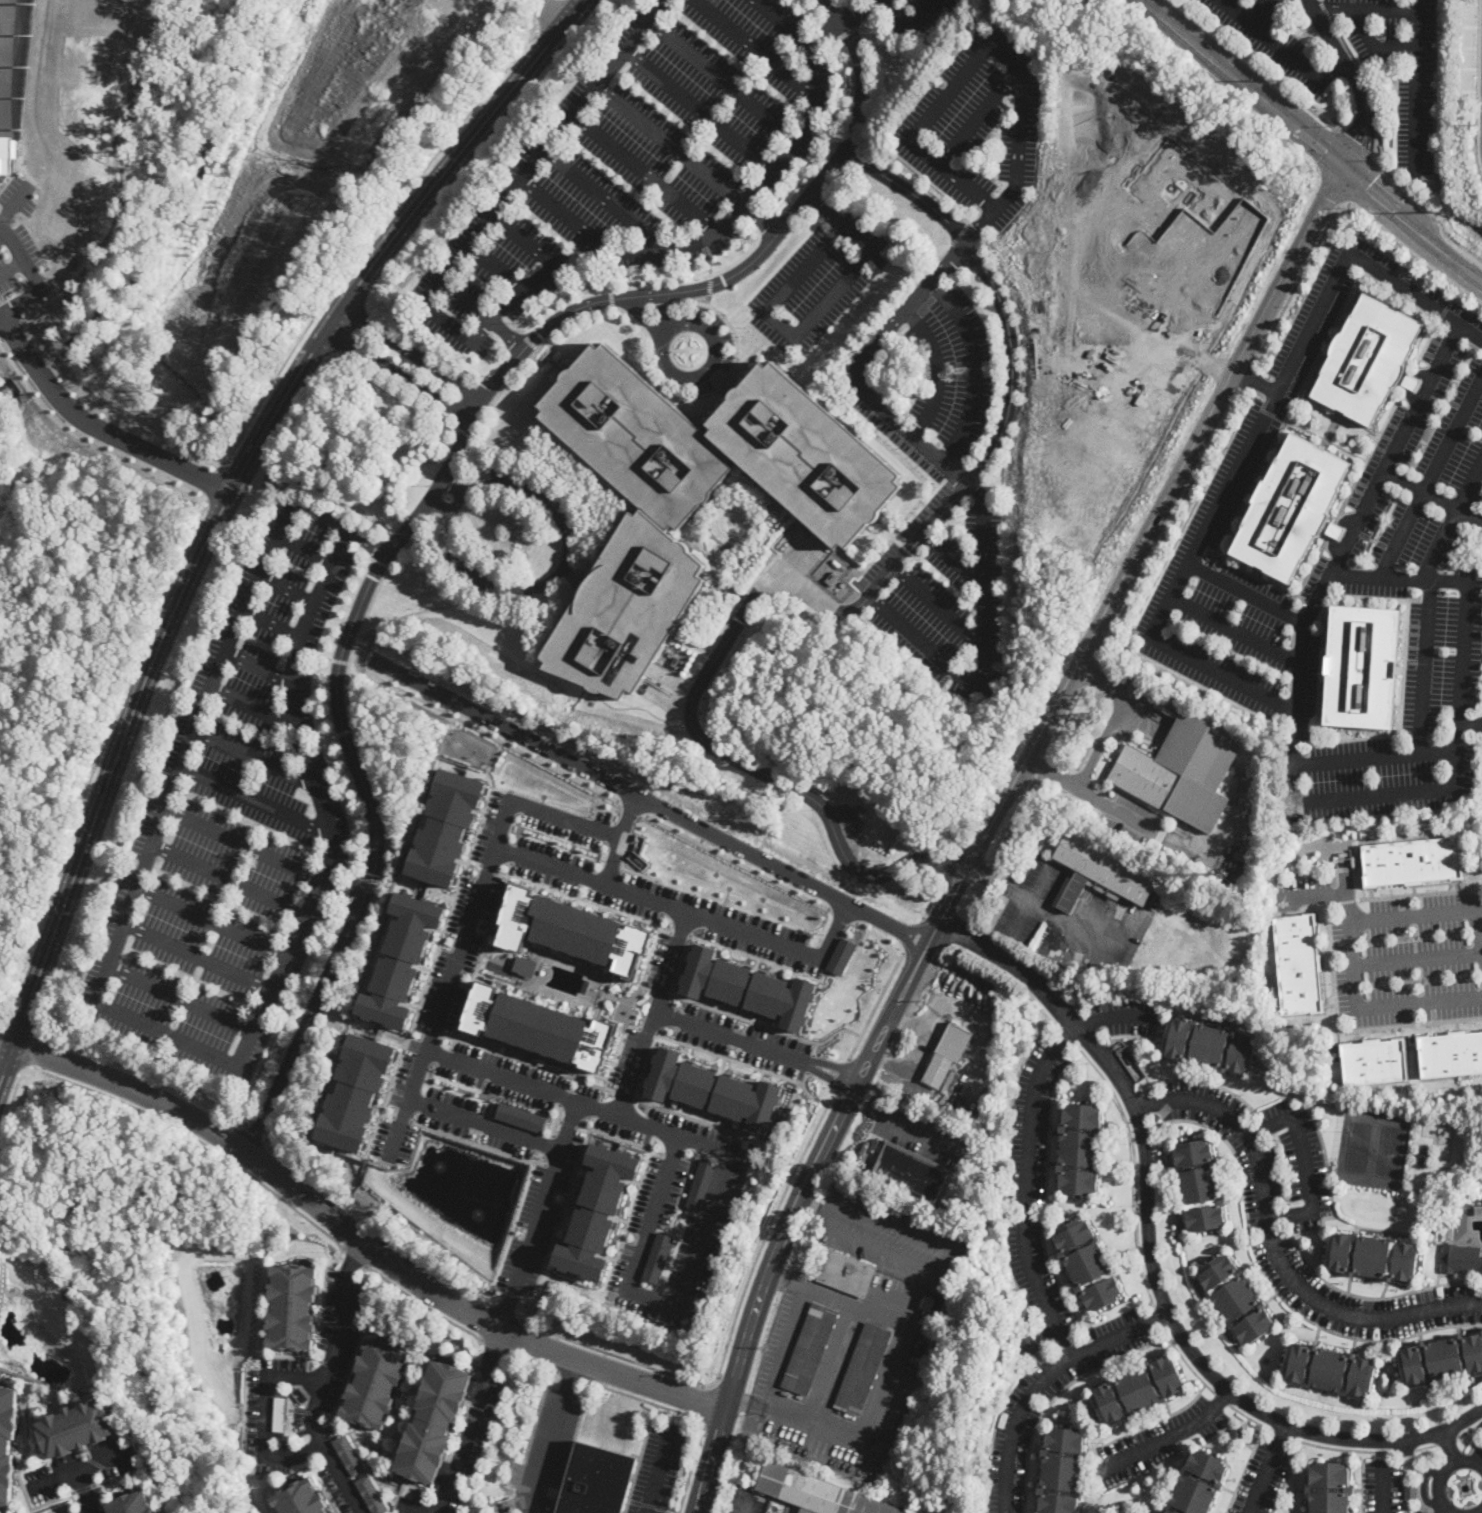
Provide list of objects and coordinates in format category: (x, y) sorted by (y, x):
road: (887, 0)
road: (1367, 7)
road: (1326, 11)
road: (543, 13)
parking lot: (915, 16)
road: (1263, 17)
road: (784, 21)
road: (844, 23)
road: (916, 28)
road: (1376, 46)
road: (1281, 48)
road: (755, 49)
road: (977, 53)
park: (13, 60)
road: (1256, 63)
power tower: (1281, 79)
road: (1354, 79)
road: (723, 81)
road: (1245, 81)
road: (1418, 87)
road: (580, 108)
track: (1480, 109)
road: (698, 111)
road: (978, 116)
parking lot: (977, 124)
road: (1379, 126)
parking lot: (678, 130)
road: (1199, 136)
road: (1356, 144)
road: (671, 145)
road: (1325, 146)
building: (8, 153)
traffic signals: (1345, 164)
road: (647, 173)
road: (1364, 182)
road: (1332, 192)
road: (605, 199)
road: (1338, 205)
road: (13, 206)
power tower: (1442, 212)
road: (974, 217)
building: (1200, 220)
road: (1413, 223)
road: (716, 232)
road: (960, 233)
road: (976, 233)
road: (372, 234)
parking lot: (1078, 244)
parking lot: (20, 251)
road: (744, 254)
road: (12, 266)
road: (497, 267)
road: (35, 277)
parking lot: (485, 277)
parking lot: (818, 283)
road: (995, 291)
road: (1456, 293)
road: (1400, 296)
road: (468, 300)
road: (1445, 309)
road: (663, 316)
road: (886, 316)
road: (807, 321)
road: (643, 322)
road: (27, 324)
road: (1470, 329)
road: (13, 331)
road: (508, 333)
road: (479, 335)
road: (302, 338)
road: (1, 340)
road: (317, 347)
road: (534, 351)
road: (411, 352)
road: (662, 353)
building: (1367, 358)
road: (861, 368)
parking lot: (953, 368)
road: (975, 369)
road: (938, 371)
road: (398, 373)
road: (1247, 375)
parking lot: (1297, 376)
road: (1255, 380)
road: (1410, 381)
road: (390, 383)
road: (1253, 389)
road: (90, 402)
road: (1266, 411)
road: (1286, 417)
road: (1337, 418)
road: (99, 424)
road: (1331, 429)
road: (465, 432)
road: (87, 440)
road: (1324, 440)
parking lot: (1427, 456)
road: (1366, 457)
road: (1431, 476)
road: (216, 482)
road: (450, 484)
road: (450, 485)
road: (436, 487)
road: (444, 494)
road: (1431, 494)
building: (691, 497)
road: (1220, 499)
road: (223, 503)
road: (437, 505)
road: (439, 505)
building: (1294, 506)
road: (1168, 524)
road: (1470, 525)
road: (345, 527)
road: (1335, 530)
road: (451, 539)
road: (305, 550)
road: (360, 553)
road: (952, 559)
road: (380, 562)
parking lot: (939, 569)
road: (1261, 577)
road: (579, 579)
parking lot: (1354, 580)
road: (287, 589)
road: (1246, 590)
road: (1426, 599)
road: (1314, 604)
road: (937, 606)
road: (420, 610)
road: (271, 626)
road: (1236, 629)
parking lot: (1233, 639)
road: (983, 652)
road: (316, 655)
parking lot: (1444, 655)
road: (339, 660)
road: (1403, 660)
building: (1362, 667)
road: (258, 669)
road: (1091, 674)
road: (1318, 674)
road: (702, 685)
road: (252, 707)
road: (1065, 721)
road: (1471, 723)
road: (344, 731)
road: (491, 735)
road: (1419, 735)
road: (1437, 738)
road: (1457, 738)
road: (1473, 739)
road: (322, 740)
road: (1101, 740)
road: (1459, 742)
road: (98, 754)
road: (252, 755)
road: (1377, 756)
building: (1200, 767)
building: (1146, 777)
parking lot: (1386, 777)
road: (1017, 778)
building: (1248, 786)
road: (651, 801)
road: (256, 803)
road: (631, 807)
road: (541, 810)
parking lot: (1130, 819)
parking lot: (233, 821)
building: (447, 827)
road: (1164, 832)
road: (619, 838)
road: (962, 843)
road: (243, 845)
building: (1244, 849)
building: (1412, 861)
road: (474, 862)
road: (736, 862)
road: (949, 866)
road: (486, 868)
building: (1100, 872)
road: (500, 874)
road: (370, 879)
road: (229, 881)
road: (346, 881)
road: (1000, 884)
road: (341, 890)
parking lot: (494, 891)
parking lot: (1302, 891)
road: (1419, 893)
road: (1330, 894)
road: (931, 899)
road: (1032, 899)
road: (590, 901)
road: (1346, 901)
parking lot: (668, 905)
road: (842, 915)
road: (213, 922)
parking lot: (1069, 924)
road: (1076, 926)
road: (1478, 927)
building: (572, 930)
road: (681, 933)
road: (911, 935)
road: (881, 936)
road: (439, 945)
road: (481, 949)
road: (347, 955)
building: (840, 955)
road: (198, 956)
road: (1417, 957)
road: (455, 958)
building: (401, 959)
road: (1352, 959)
parking lot: (1410, 959)
parking lot: (664, 962)
building: (1298, 964)
road: (796, 971)
building: (748, 987)
road: (1053, 998)
road: (181, 999)
road: (876, 1004)
road: (629, 1006)
road: (655, 1012)
parking lot: (1126, 1014)
road: (907, 1023)
road: (3, 1024)
road: (765, 1025)
road: (418, 1026)
building: (540, 1026)
road: (634, 1026)
road: (1341, 1029)
road: (432, 1030)
road: (647, 1030)
road: (921, 1030)
road: (720, 1031)
road: (453, 1043)
parking lot: (703, 1043)
road: (182, 1044)
building: (1209, 1046)
road: (33, 1049)
road: (815, 1049)
building: (1451, 1054)
building: (947, 1055)
road: (529, 1062)
road: (741, 1062)
road: (822, 1062)
road: (886, 1062)
building: (1373, 1062)
road: (810, 1063)
road: (818, 1072)
road: (146, 1075)
road: (840, 1075)
road: (805, 1078)
road: (572, 1083)
building: (713, 1089)
building: (357, 1092)
road: (625, 1094)
parking lot: (463, 1096)
road: (565, 1096)
road: (872, 1101)
road: (407, 1103)
road: (824, 1103)
road: (648, 1110)
road: (389, 1114)
road: (687, 1116)
building: (522, 1117)
road: (403, 1118)
road: (556, 1119)
road: (567, 1122)
road: (485, 1123)
road: (254, 1130)
parking lot: (924, 1133)
road: (925, 1135)
road: (621, 1138)
road: (478, 1142)
road: (651, 1142)
road: (705, 1142)
road: (204, 1143)
road: (549, 1145)
park: (1357, 1145)
building: (1080, 1150)
park: (1390, 1150)
road: (1028, 1151)
parking lot: (1262, 1151)
building: (1425, 1156)
road: (542, 1159)
road: (1302, 1159)
road: (560, 1168)
road: (1133, 1168)
building: (910, 1170)
building: (702, 1183)
building: (1199, 1185)
road: (351, 1189)
parking lot: (1033, 1190)
parking lot: (666, 1200)
road: (814, 1207)
parking lot: (540, 1210)
building: (597, 1210)
building: (1478, 1211)
road: (539, 1214)
road: (629, 1220)
road: (557, 1225)
building: (1450, 1230)
parking lot: (893, 1234)
road: (360, 1241)
road: (1274, 1247)
road: (1300, 1254)
road: (698, 1256)
building: (658, 1257)
road: (951, 1257)
building: (1371, 1257)
road: (352, 1258)
building: (1461, 1259)
building: (1087, 1264)
building: (847, 1273)
parking lot: (1298, 1282)
building: (1236, 1299)
road: (423, 1304)
building: (292, 1306)
road: (504, 1310)
road: (878, 1310)
road: (1159, 1316)
building: (926, 1325)
road: (731, 1333)
building: (1029, 1343)
road: (494, 1346)
building: (810, 1348)
road: (835, 1358)
road: (529, 1359)
building: (1441, 1359)
road: (1201, 1361)
road: (1186, 1362)
parking lot: (774, 1364)
building: (863, 1368)
building: (1329, 1370)
road: (571, 1374)
road: (571, 1376)
road: (324, 1381)
road: (1044, 1381)
parking lot: (305, 1382)
building: (374, 1383)
road: (886, 1383)
building: (1137, 1390)
road: (1222, 1399)
road: (703, 1402)
parking lot: (1020, 1409)
building: (279, 1413)
road: (688, 1414)
road: (1250, 1418)
road: (265, 1420)
road: (470, 1420)
road: (1464, 1420)
building: (433, 1421)
road: (832, 1422)
building: (75, 1427)
road: (1469, 1429)
road: (1282, 1433)
road: (1177, 1434)
building: (1237, 1436)
building: (8, 1440)
road: (1446, 1440)
parking lot: (1156, 1442)
road: (1425, 1446)
road: (1450, 1446)
road: (1343, 1448)
parking lot: (548, 1451)
parking lot: (459, 1452)
road: (549, 1453)
building: (348, 1455)
parking lot: (1476, 1459)
road: (710, 1461)
parking lot: (80, 1468)
road: (658, 1468)
road: (1269, 1468)
parking lot: (658, 1469)
building: (1061, 1471)
road: (78, 1472)
road: (1441, 1472)
road: (725, 1473)
parking lot: (1262, 1477)
building: (597, 1480)
parking lot: (339, 1482)
building: (1198, 1484)
building: (1329, 1488)
parking lot: (1382, 1488)
road: (1384, 1490)
road: (84, 1492)
building: (816, 1492)
building: (1410, 1492)
road: (264, 1494)
building: (370, 1494)
building: (301, 1498)
parking lot: (743, 1500)
road: (748, 1503)
building: (132, 1504)
road: (412, 1509)
parking lot: (1472, 1509)
road: (1442, 1510)
parking lot: (1419, 1512)
road: (1480, 1512)

